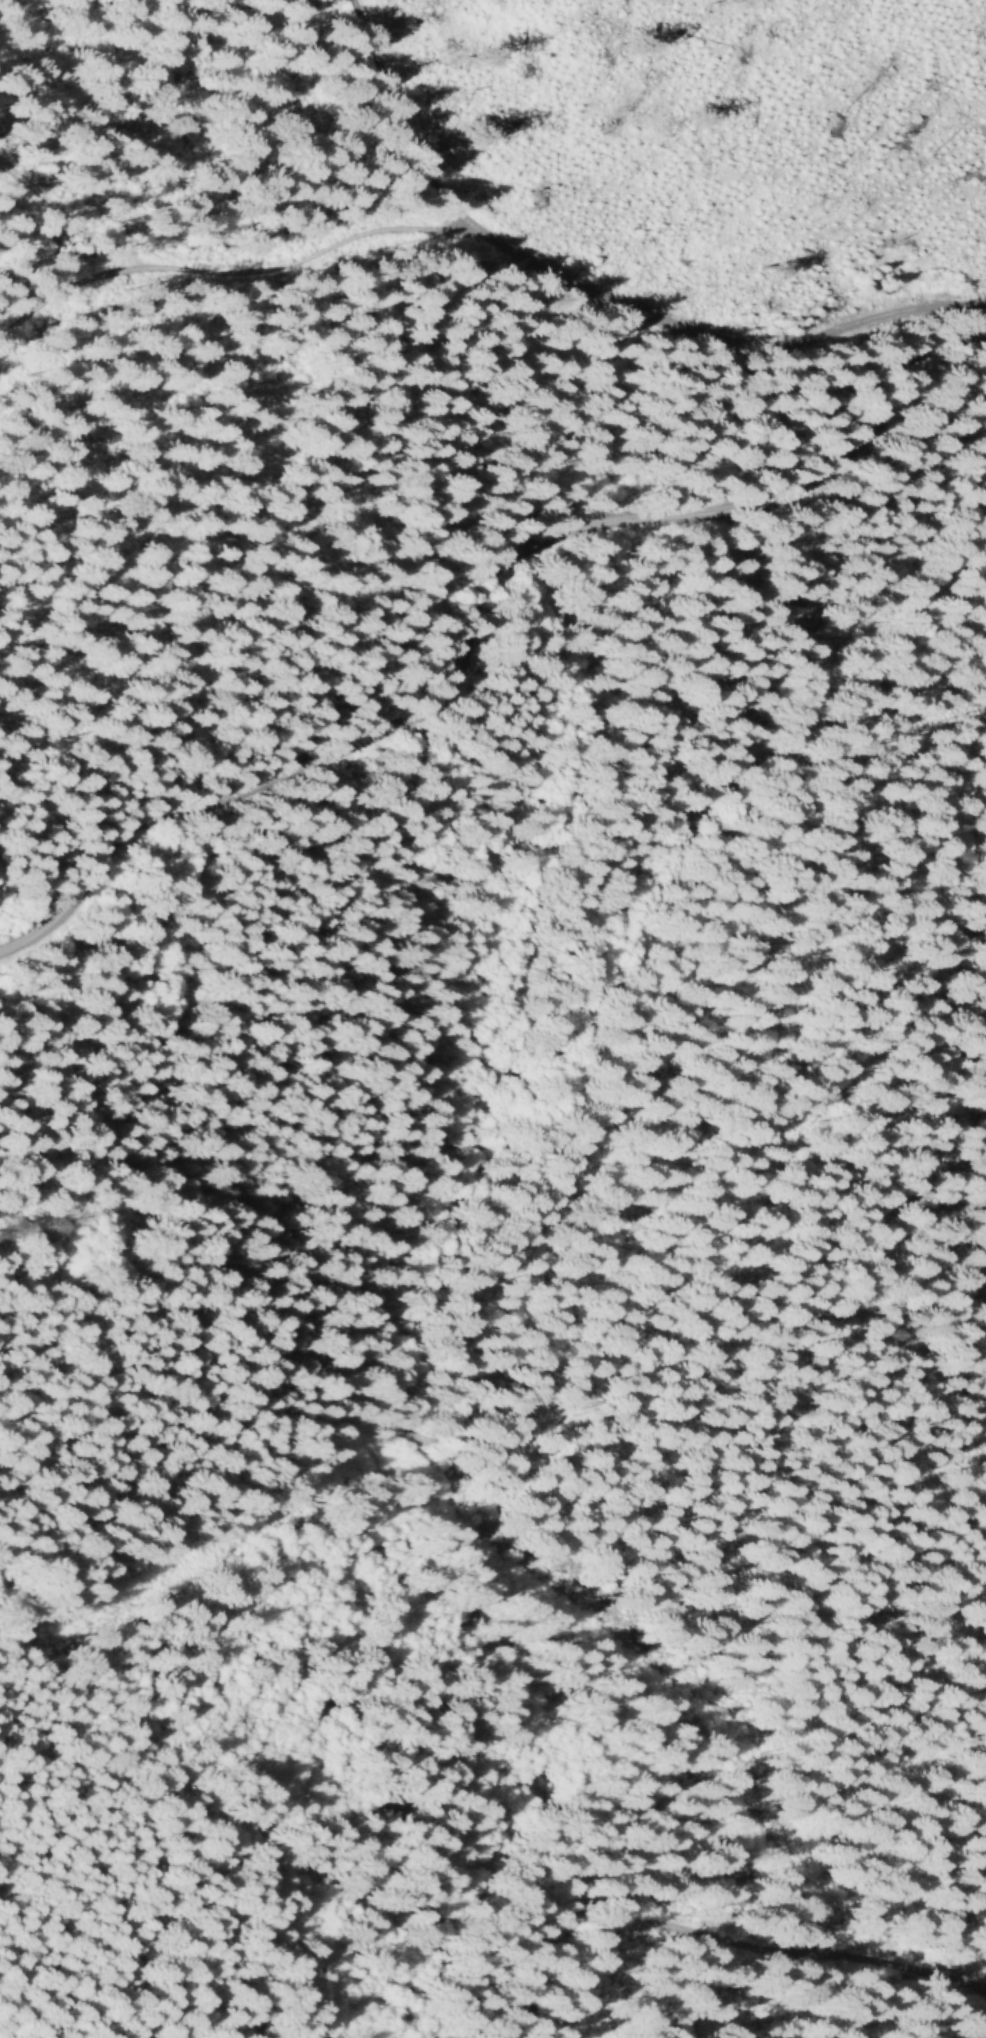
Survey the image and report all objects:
road: (231, 275)
road: (75, 286)
road: (596, 296)
road: (471, 612)
road: (481, 1556)
road: (744, 1941)

